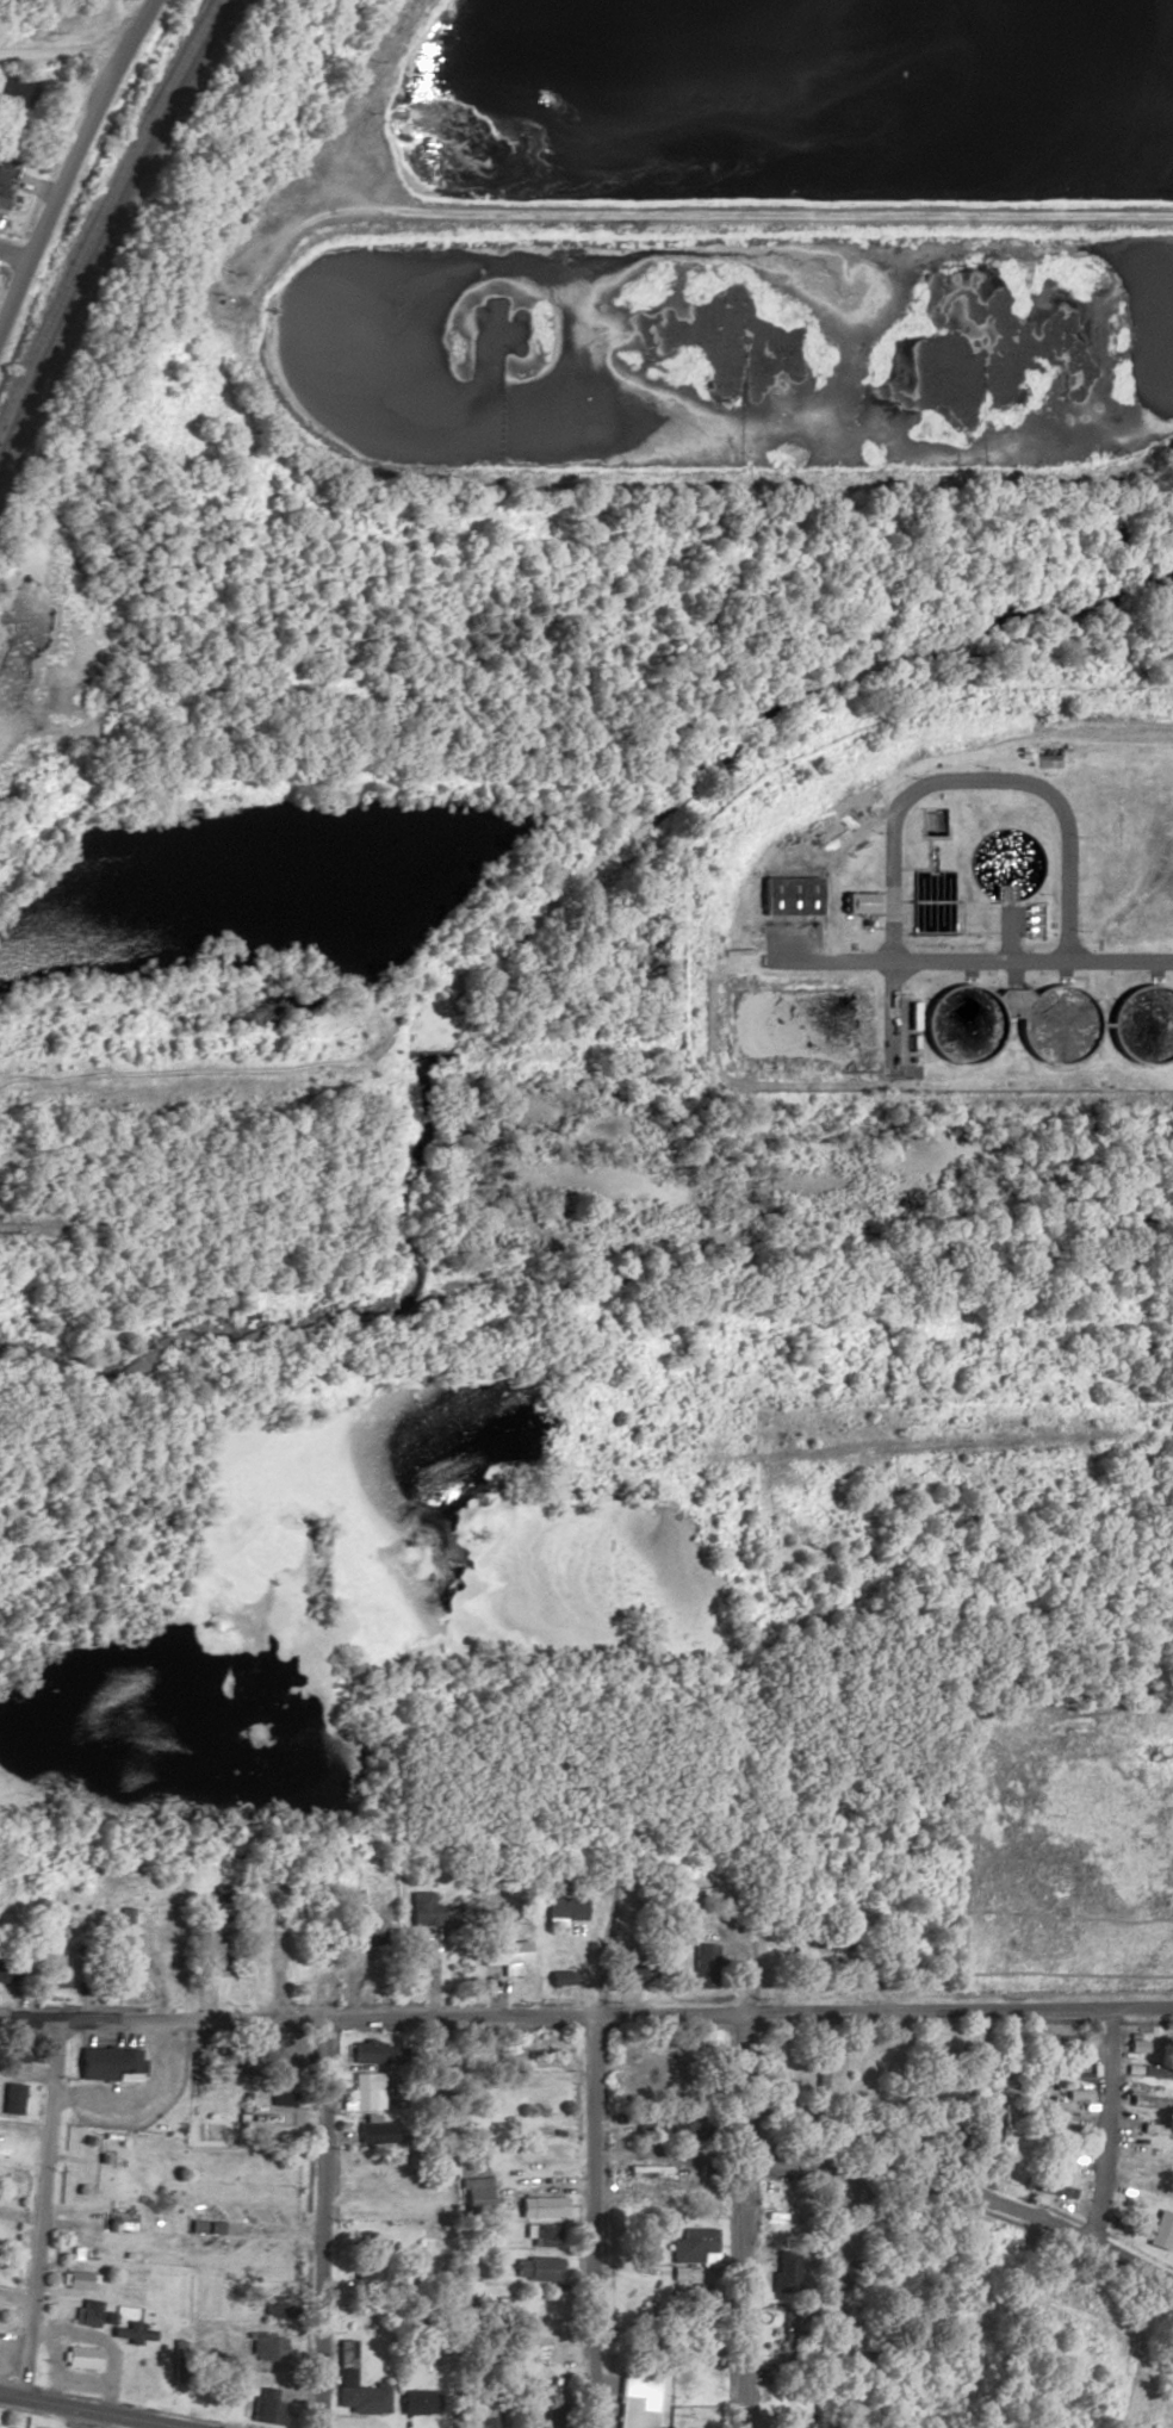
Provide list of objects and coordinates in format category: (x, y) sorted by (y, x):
road: (60, 54)
building: (19, 91)
building: (7, 156)
road: (70, 162)
building: (4, 182)
railway: (104, 206)
railway: (110, 222)
road: (14, 257)
building: (1159, 802)
building: (1156, 895)
building: (789, 896)
wastewater plant: (951, 912)
road: (843, 949)
building: (1143, 1010)
road: (880, 1449)
building: (1136, 1471)
building: (423, 1910)
building: (126, 1936)
building: (504, 1956)
building: (701, 1968)
building: (6, 1970)
building: (634, 1973)
building: (312, 1974)
road: (586, 2013)
building: (1156, 2039)
building: (1048, 2041)
building: (527, 2045)
building: (15, 2047)
building: (370, 2051)
building: (108, 2063)
building: (772, 2072)
building: (820, 2073)
building: (855, 2075)
building: (367, 2089)
building: (281, 2094)
building: (12, 2098)
building: (1152, 2103)
building: (1049, 2112)
road: (1104, 2123)
building: (1156, 2129)
building: (376, 2131)
building: (1149, 2154)
building: (262, 2165)
building: (371, 2165)
building: (646, 2169)
building: (1050, 2188)
building: (1156, 2188)
road: (746, 2192)
building: (474, 2197)
road: (967, 2200)
building: (696, 2202)
road: (33, 2206)
building: (540, 2206)
road: (591, 2221)
road: (323, 2222)
road: (254, 2231)
building: (1161, 2231)
building: (545, 2235)
building: (699, 2240)
building: (532, 2268)
building: (786, 2271)
building: (76, 2279)
building: (87, 2312)
building: (262, 2345)
building: (534, 2351)
building: (82, 2356)
building: (356, 2385)
building: (417, 2402)
building: (268, 2407)
road: (89, 2411)
building: (484, 2411)
building: (634, 2411)
road: (69, 2417)
building: (790, 2423)

